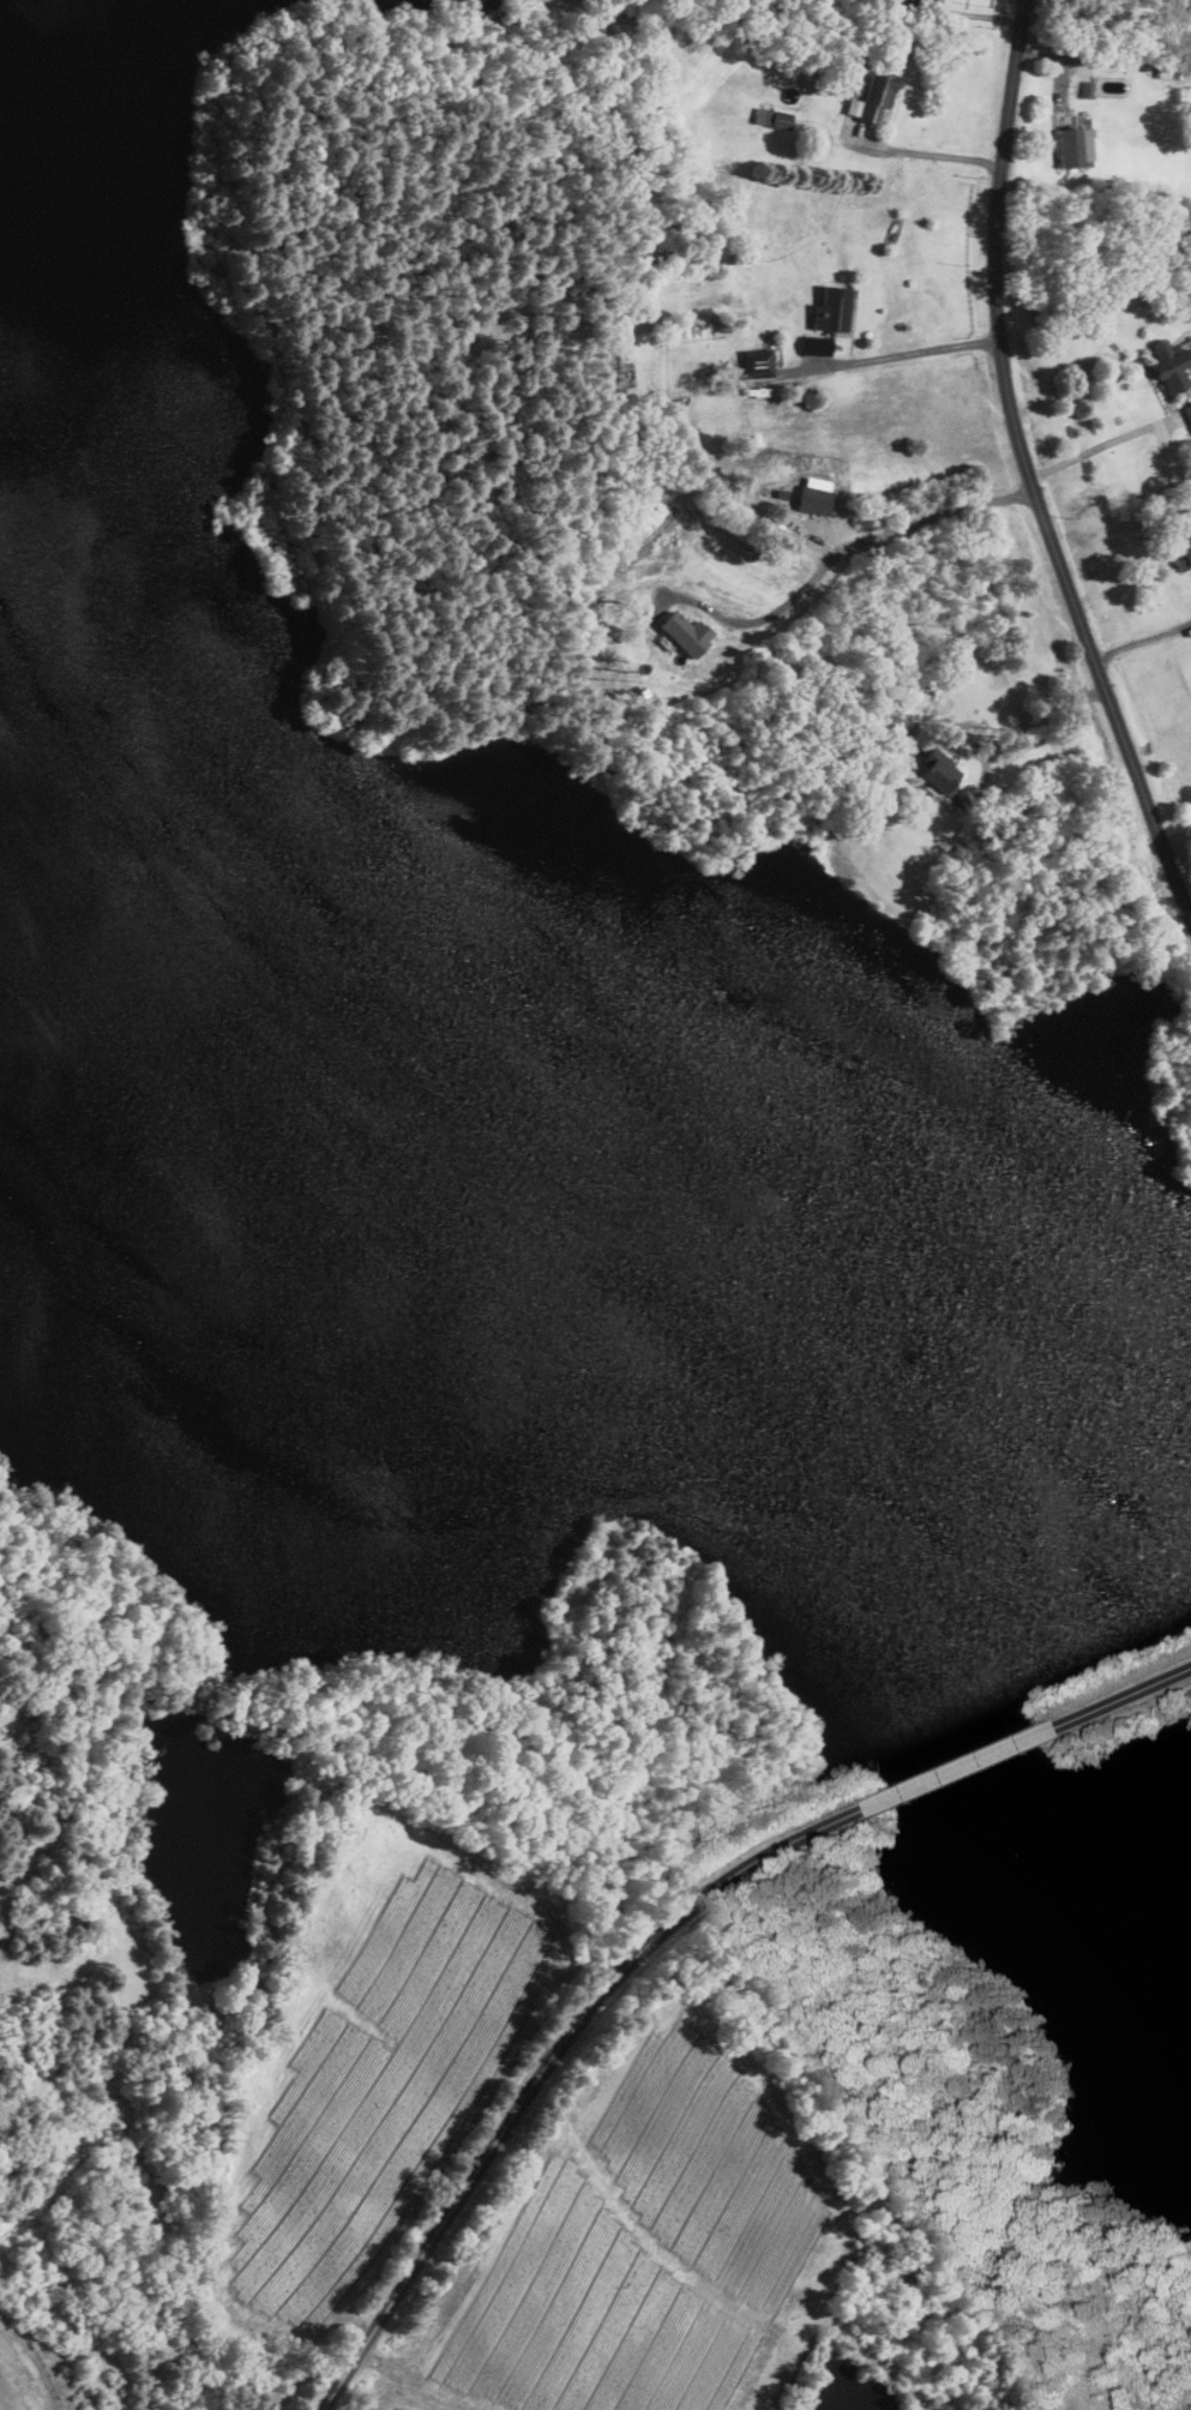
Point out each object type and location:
building: (1168, 72)
building: (1088, 88)
building: (874, 96)
building: (772, 116)
building: (1071, 146)
road: (930, 152)
building: (829, 318)
road: (912, 351)
building: (758, 362)
building: (1173, 363)
building: (1189, 409)
road: (1105, 445)
road: (1029, 471)
building: (817, 494)
road: (860, 542)
building: (1183, 555)
building: (687, 632)
road: (1142, 643)
road: (1042, 716)
building: (938, 770)
road: (1125, 1699)
road: (962, 1769)
road: (548, 2065)

